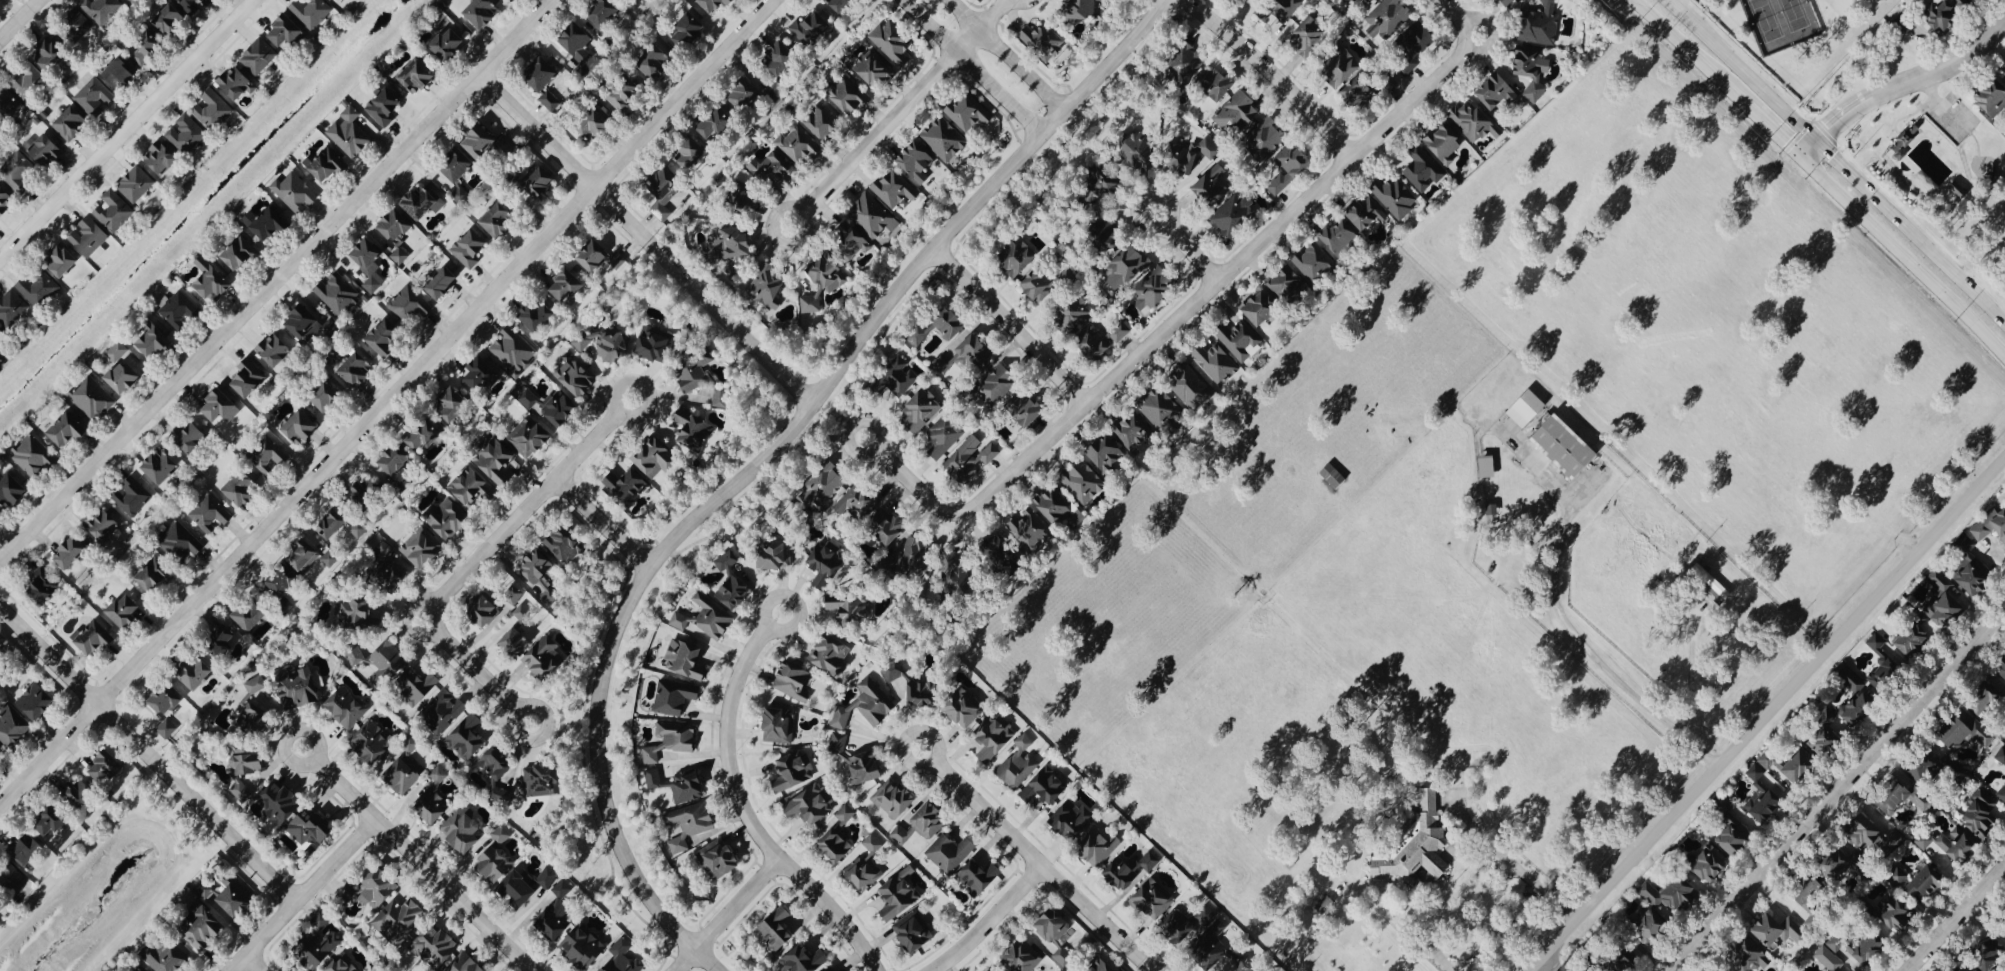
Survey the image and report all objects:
building: (331, 0)
building: (1247, 0)
building: (1979, 0)
building: (1349, 1)
building: (1370, 1)
building: (1508, 1)
building: (193, 3)
building: (715, 4)
building: (840, 4)
building: (1082, 8)
building: (101, 9)
building: (1280, 9)
building: (482, 11)
building: (605, 11)
building: (311, 12)
building: (1946, 13)
building: (1390, 17)
road: (1458, 17)
building: (167, 19)
road: (23, 22)
building: (1540, 24)
building: (75, 27)
building: (810, 28)
building: (286, 30)
building: (689, 30)
park: (1795, 33)
building: (1308, 35)
building: (576, 38)
building: (1042, 40)
road: (1677, 40)
building: (892, 42)
building: (448, 43)
building: (1416, 44)
building: (146, 46)
building: (49, 53)
building: (259, 56)
road: (1005, 56)
building: (781, 57)
building: (656, 61)
building: (1187, 64)
road: (973, 67)
building: (874, 68)
building: (1342, 68)
building: (1532, 68)
road: (1938, 69)
building: (119, 72)
building: (542, 73)
building: (417, 75)
road: (1271, 75)
building: (236, 82)
building: (1216, 82)
building: (28, 83)
building: (1358, 91)
building: (624, 92)
building: (1498, 92)
building: (744, 93)
building: (848, 95)
building: (94, 96)
building: (1993, 96)
building: (549, 99)
building: (9, 102)
road: (906, 105)
building: (384, 106)
building: (212, 109)
building: (1237, 110)
building: (969, 112)
road: (1761, 120)
building: (716, 121)
building: (1472, 121)
building: (824, 122)
building: (594, 123)
building: (70, 124)
traffic signals: (1830, 125)
road: (1828, 127)
road: (127, 129)
building: (349, 132)
building: (187, 133)
building: (1264, 138)
building: (945, 139)
building: (480, 141)
building: (1445, 142)
traffic signals: (1784, 142)
building: (508, 144)
building: (798, 145)
building: (45, 150)
building: (1137, 150)
building: (691, 151)
traffic signals: (1836, 154)
building: (161, 157)
road: (1840, 158)
building: (917, 161)
building: (326, 163)
building: (458, 164)
building: (1291, 166)
building: (771, 169)
building: (1424, 169)
building: (17, 170)
park: (1944, 174)
building: (538, 180)
building: (1105, 181)
building: (136, 184)
building: (1214, 185)
building: (895, 190)
building: (1959, 190)
building: (295, 191)
building: (664, 191)
building: (1395, 196)
building: (746, 197)
building: (5, 199)
building: (424, 200)
building: (113, 210)
building: (1366, 213)
building: (1235, 214)
building: (872, 216)
building: (499, 219)
building: (269, 222)
building: (396, 225)
road: (803, 234)
building: (1108, 235)
building: (1341, 236)
building: (90, 238)
road: (646, 240)
building: (851, 240)
building: (738, 241)
building: (470, 247)
road: (1186, 248)
building: (240, 252)
building: (400, 255)
building: (600, 256)
building: (1018, 258)
road: (1902, 258)
building: (62, 260)
building: (1315, 261)
building: (369, 264)
building: (1126, 266)
building: (827, 272)
road: (1222, 278)
building: (211, 280)
road: (277, 282)
building: (442, 282)
building: (567, 284)
building: (1040, 284)
building: (1289, 284)
building: (768, 285)
building: (38, 288)
building: (1155, 288)
building: (337, 293)
building: (410, 303)
building: (811, 303)
building: (1261, 307)
building: (178, 308)
building: (13, 310)
building: (1076, 311)
building: (537, 314)
building: (950, 322)
building: (309, 324)
road: (1012, 326)
building: (1119, 333)
building: (2, 335)
building: (918, 335)
building: (384, 337)
building: (154, 339)
building: (1241, 341)
building: (1093, 342)
building: (655, 344)
building: (606, 345)
building: (274, 349)
building: (117, 351)
building: (513, 351)
building: (968, 355)
building: (335, 356)
building: (1216, 362)
building: (355, 368)
building: (695, 370)
building: (481, 374)
building: (900, 376)
building: (122, 377)
building: (577, 377)
building: (249, 378)
building: (998, 384)
building: (1192, 386)
building: (326, 395)
building: (722, 396)
building: (92, 397)
road: (386, 402)
building: (453, 404)
building: (551, 405)
building: (221, 406)
building: (1025, 408)
building: (1528, 408)
building: (922, 410)
building: (1162, 411)
road: (637, 415)
road: (878, 425)
building: (301, 427)
building: (67, 429)
building: (694, 430)
building: (1135, 431)
building: (425, 435)
building: (945, 436)
building: (188, 437)
building: (529, 437)
building: (1565, 446)
building: (1107, 454)
building: (267, 455)
building: (33, 456)
building: (656, 457)
building: (971, 457)
building: (395, 460)
building: (497, 460)
road: (765, 460)
building: (160, 466)
building: (1489, 466)
crop: (1804, 473)
building: (1334, 476)
building: (1083, 481)
building: (628, 485)
building: (823, 485)
building: (472, 486)
building: (242, 489)
building: (12, 490)
building: (367, 490)
road: (916, 490)
building: (133, 496)
building: (858, 502)
building: (1057, 506)
building: (210, 513)
road: (521, 516)
building: (448, 519)
road: (604, 523)
building: (102, 524)
building: (333, 525)
building: (1990, 526)
building: (887, 527)
building: (359, 529)
building: (181, 542)
building: (563, 542)
building: (421, 550)
building: (72, 553)
building: (303, 554)
building: (775, 555)
building: (1005, 555)
building: (916, 556)
building: (330, 558)
building: (826, 563)
building: (1971, 567)
building: (388, 569)
building: (960, 574)
building: (154, 575)
building: (540, 575)
building: (732, 582)
building: (283, 583)
building: (42, 586)
building: (513, 595)
building: (1946, 601)
building: (851, 608)
building: (484, 609)
building: (124, 611)
building: (352, 612)
building: (522, 612)
building: (250, 615)
building: (707, 617)
road: (1566, 623)
building: (94, 638)
building: (1913, 639)
building: (222, 641)
building: (516, 641)
building: (1, 645)
building: (831, 654)
building: (356, 655)
building: (545, 658)
building: (688, 660)
building: (387, 663)
building: (1884, 664)
building: (894, 670)
road: (477, 671)
road: (1691, 671)
building: (2002, 671)
building: (195, 673)
building: (794, 681)
building: (256, 685)
building: (418, 686)
building: (298, 687)
building: (923, 694)
building: (675, 696)
building: (1858, 699)
building: (1985, 699)
building: (165, 700)
building: (35, 701)
building: (866, 705)
building: (346, 707)
building: (964, 708)
building: (443, 711)
road: (1765, 714)
building: (254, 719)
building: (12, 725)
building: (779, 726)
building: (167, 729)
building: (1968, 731)
building: (677, 736)
building: (468, 737)
building: (994, 737)
building: (1827, 738)
building: (373, 742)
building: (410, 745)
building: (1, 754)
building: (2001, 754)
road: (148, 755)
building: (651, 755)
building: (248, 759)
building: (1771, 759)
building: (1019, 763)
building: (1801, 766)
building: (1927, 766)
building: (106, 768)
building: (793, 771)
building: (401, 776)
building: (543, 780)
building: (679, 784)
building: (1045, 785)
building: (240, 789)
road: (1837, 790)
building: (2002, 791)
building: (77, 793)
building: (1763, 795)
building: (1904, 796)
building: (434, 798)
building: (894, 798)
building: (280, 803)
building: (812, 803)
road: (742, 807)
building: (1982, 813)
building: (1073, 819)
building: (51, 821)
building: (922, 824)
building: (312, 827)
building: (464, 830)
road: (1485, 832)
building: (1865, 832)
building: (501, 834)
building: (839, 835)
building: (1735, 836)
building: (1896, 837)
building: (872, 843)
building: (1951, 843)
building: (1418, 845)
building: (1100, 846)
building: (25, 848)
building: (951, 851)
road: (416, 859)
building: (719, 860)
road: (1035, 862)
building: (1849, 863)
building: (1712, 864)
building: (1131, 868)
building: (864, 872)
building: (979, 875)
building: (1900, 875)
building: (10, 877)
building: (1927, 882)
building: (526, 884)
building: (205, 888)
building: (373, 888)
building: (1811, 888)
building: (1671, 892)
building: (900, 893)
road: (304, 895)
building: (236, 897)
building: (1154, 898)
building: (1330, 903)
building: (1896, 910)
building: (556, 912)
building: (1205, 914)
road: (727, 915)
building: (401, 918)
road: (1956, 918)
road: (990, 922)
building: (201, 923)
building: (1181, 925)
building: (1653, 925)
building: (775, 929)
building: (1780, 929)
building: (914, 930)
building: (1056, 933)
building: (1842, 942)
building: (318, 943)
building: (1212, 943)
building: (435, 945)
building: (1874, 945)
building: (583, 946)
building: (165, 955)
building: (1751, 955)
building: (1989, 955)
building: (1024, 957)
building: (624, 958)
building: (805, 959)
building: (1628, 959)
building: (1831, 960)
building: (1243, 962)
building: (466, 963)
building: (344, 964)
road: (1546, 964)
road: (252, 965)
building: (1100, 965)
building: (832, 968)
building: (1967, 968)
building: (992, 969)
building: (142, 970)

